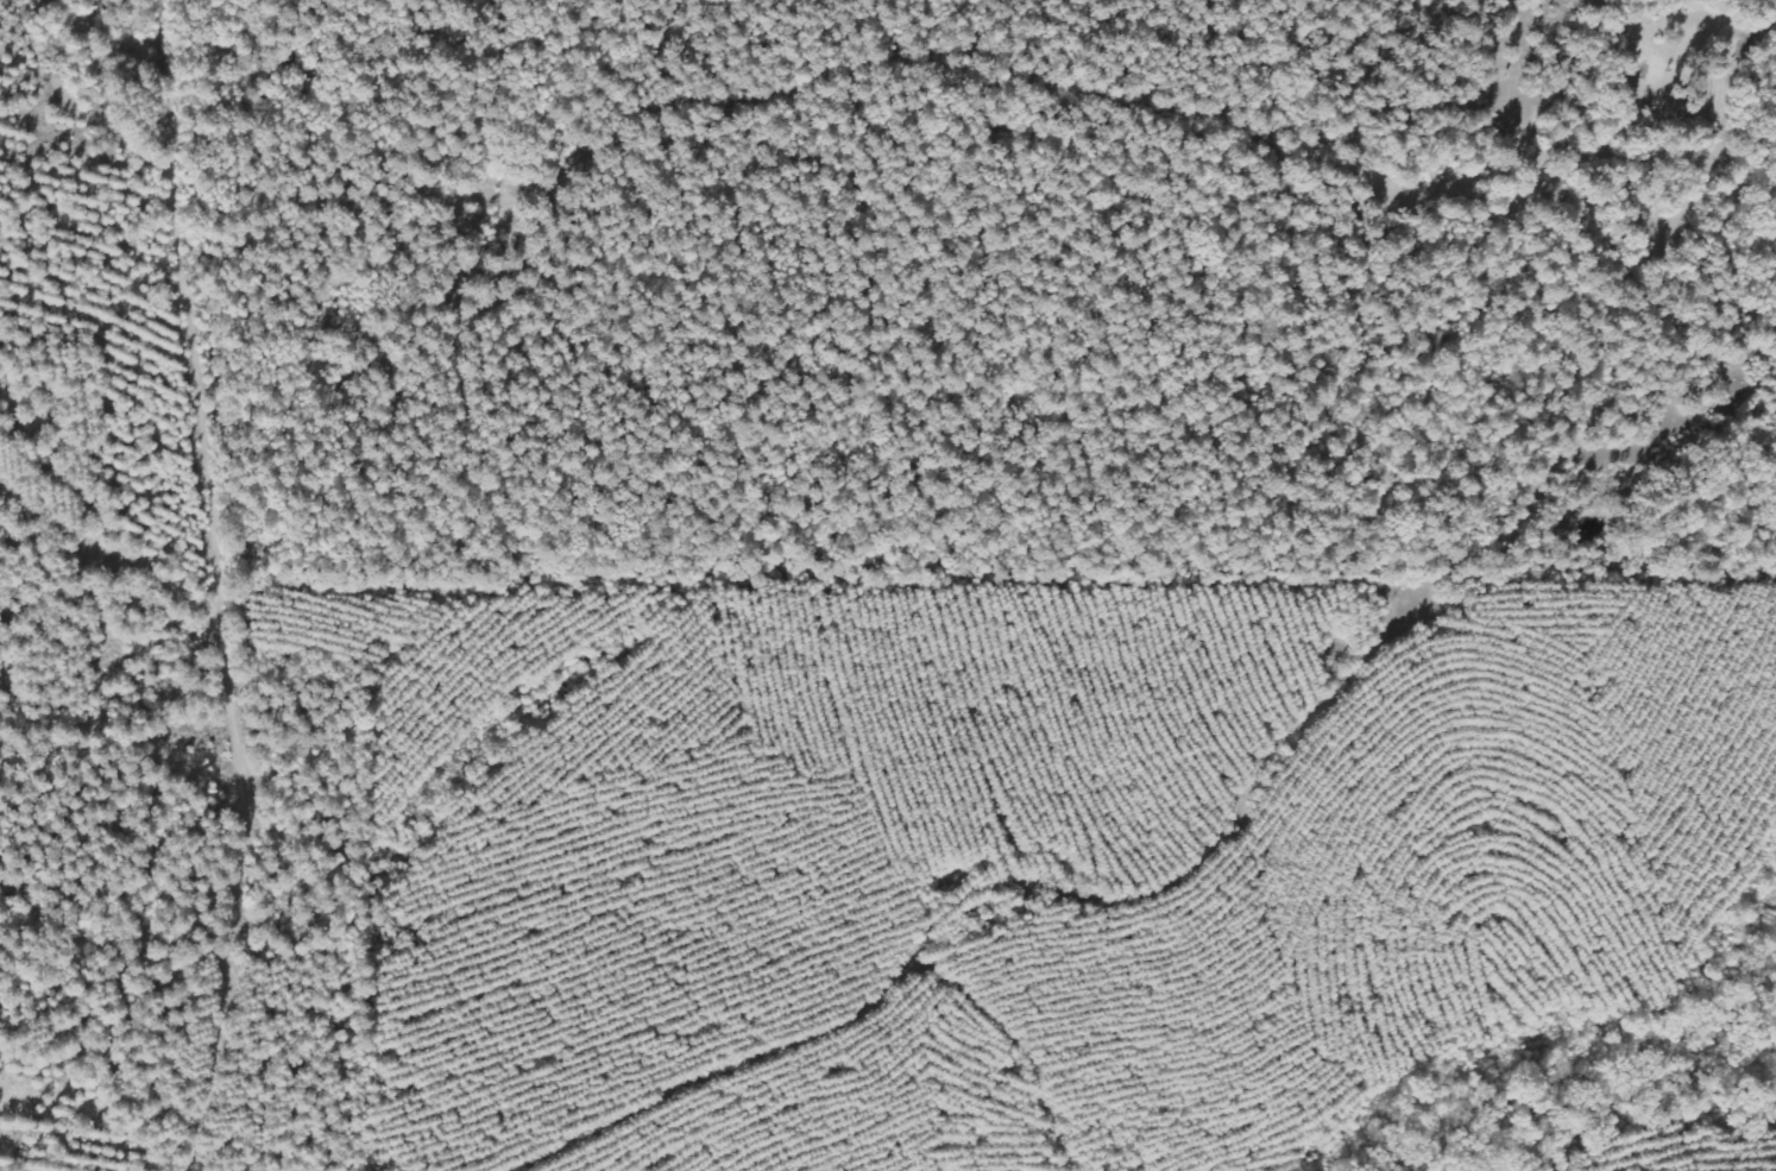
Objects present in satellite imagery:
road: (1755, 37)
park: (1682, 67)

